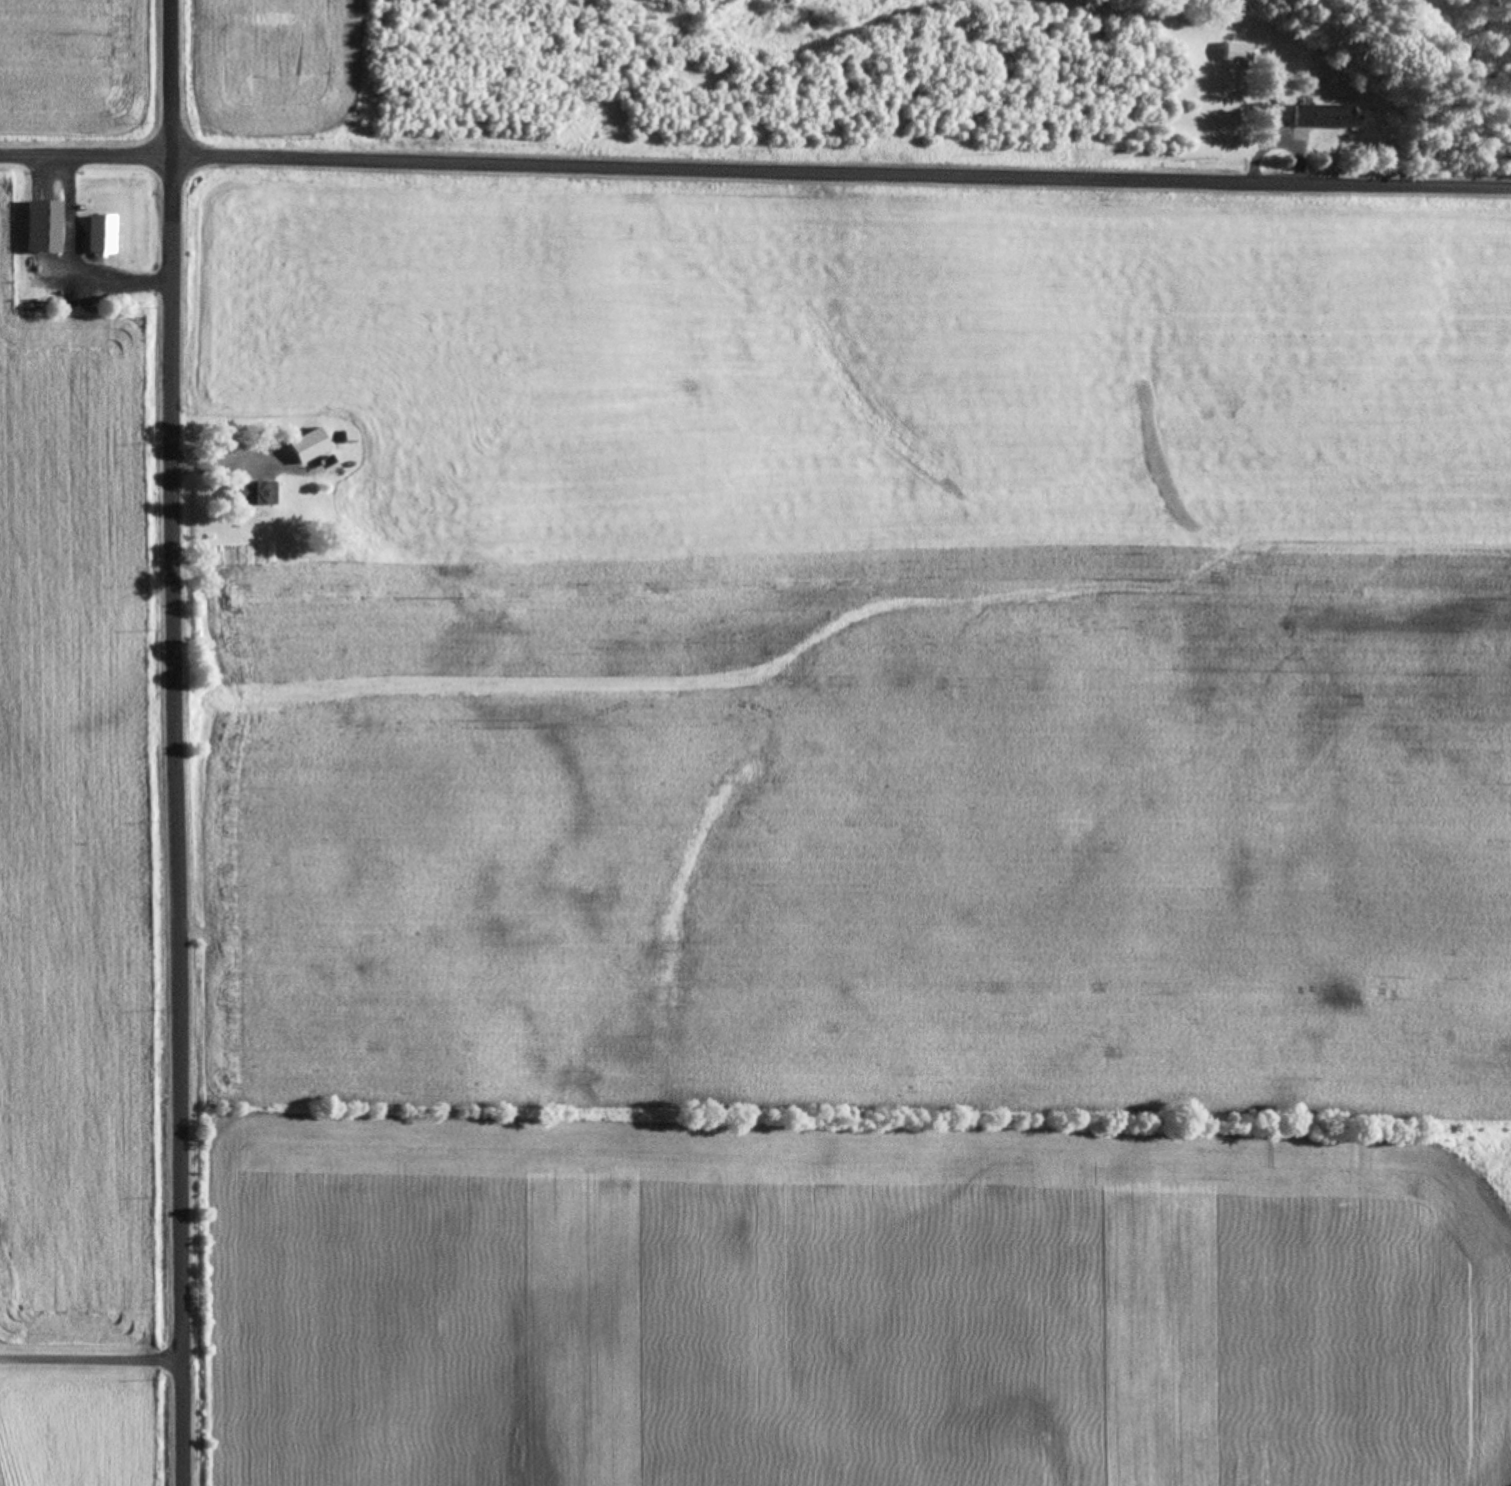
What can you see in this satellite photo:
building: (1233, 52)
building: (1273, 113)
building: (1323, 117)
road: (755, 174)
building: (37, 228)
building: (97, 235)
building: (304, 447)
building: (255, 494)
road: (175, 743)
road: (91, 1357)

